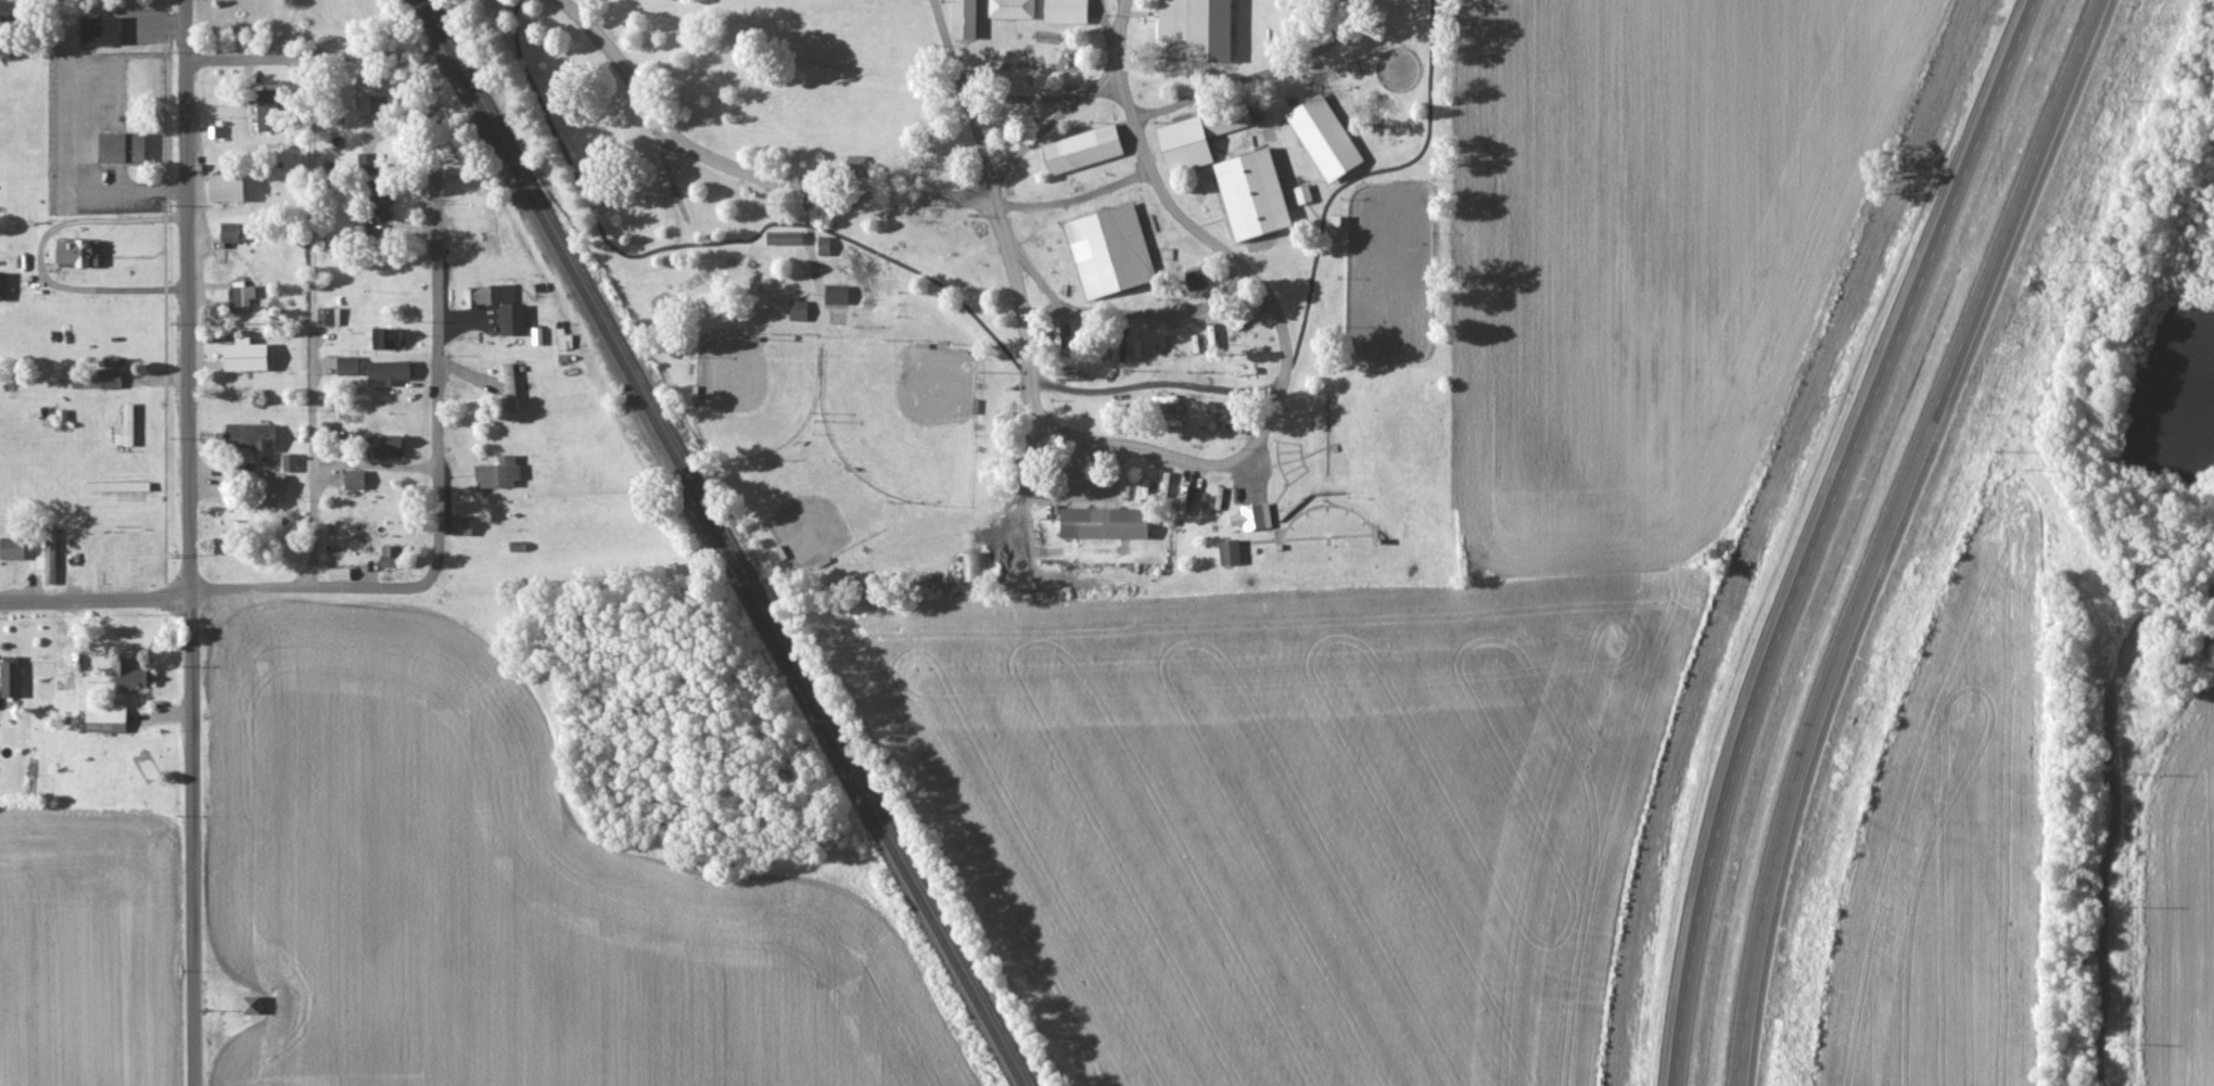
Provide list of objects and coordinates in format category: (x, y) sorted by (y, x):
building: (1010, 9)
building: (1065, 11)
building: (963, 18)
road: (154, 24)
road: (1121, 25)
building: (1196, 27)
building: (98, 30)
road: (283, 34)
road: (1117, 62)
road: (317, 65)
building: (1358, 68)
road: (1428, 69)
road: (1244, 87)
building: (367, 94)
road: (1026, 98)
building: (1230, 118)
road: (1048, 130)
building: (1326, 138)
building: (1186, 144)
building: (119, 146)
building: (1085, 150)
road: (1137, 154)
building: (224, 188)
road: (815, 192)
building: (1302, 193)
building: (1255, 195)
building: (379, 206)
building: (228, 230)
building: (782, 238)
road: (812, 245)
building: (823, 245)
building: (1111, 252)
building: (71, 253)
road: (39, 256)
building: (1195, 279)
building: (491, 294)
building: (836, 294)
building: (242, 296)
building: (798, 309)
building: (327, 316)
road: (1117, 317)
building: (511, 319)
road: (309, 333)
building: (537, 335)
building: (1212, 336)
building: (384, 337)
building: (1168, 340)
building: (565, 342)
building: (1181, 343)
building: (243, 356)
building: (1175, 363)
road: (433, 365)
building: (345, 366)
building: (387, 371)
building: (110, 379)
building: (86, 382)
road: (1155, 382)
building: (510, 387)
building: (1161, 396)
park: (902, 417)
building: (125, 426)
building: (246, 436)
road: (1099, 442)
building: (386, 447)
building: (289, 461)
building: (500, 473)
building: (353, 480)
building: (266, 488)
building: (1255, 518)
building: (1106, 524)
building: (463, 526)
road: (1821, 533)
road: (1885, 533)
road: (187, 542)
railway: (722, 542)
railway: (731, 542)
building: (11, 547)
building: (518, 547)
building: (1231, 552)
building: (50, 555)
building: (389, 557)
building: (975, 566)
building: (338, 573)
road: (93, 600)
road: (293, 602)
building: (128, 674)
building: (10, 675)
building: (104, 716)
building: (251, 1004)

